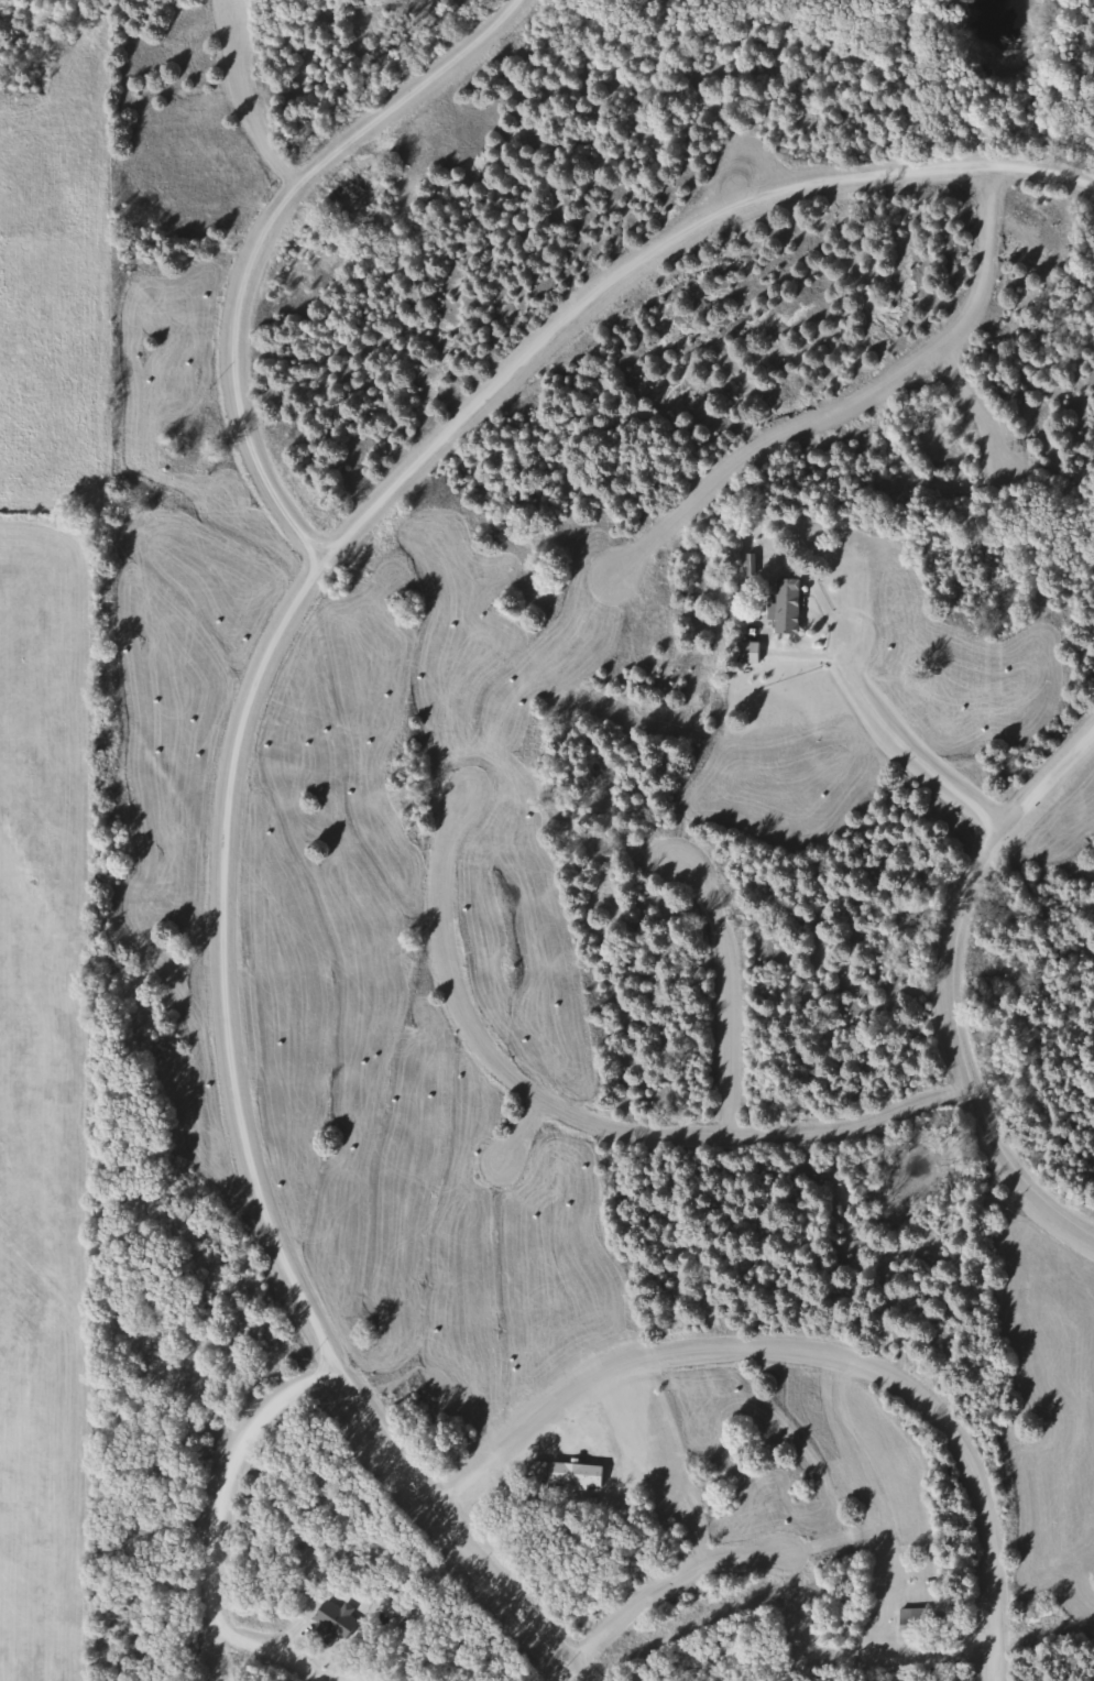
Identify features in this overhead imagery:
road: (271, 89)
road: (256, 248)
road: (894, 407)
road: (1014, 410)
building: (788, 607)
building: (750, 652)
road: (242, 709)
road: (885, 724)
road: (954, 986)
road: (731, 997)
road: (589, 1105)
road: (555, 1154)
road: (564, 1397)
road: (950, 1431)
building: (568, 1472)
road: (223, 1492)
road: (699, 1598)
building: (914, 1619)
building: (333, 1622)
road: (292, 1661)
road: (261, 1663)

